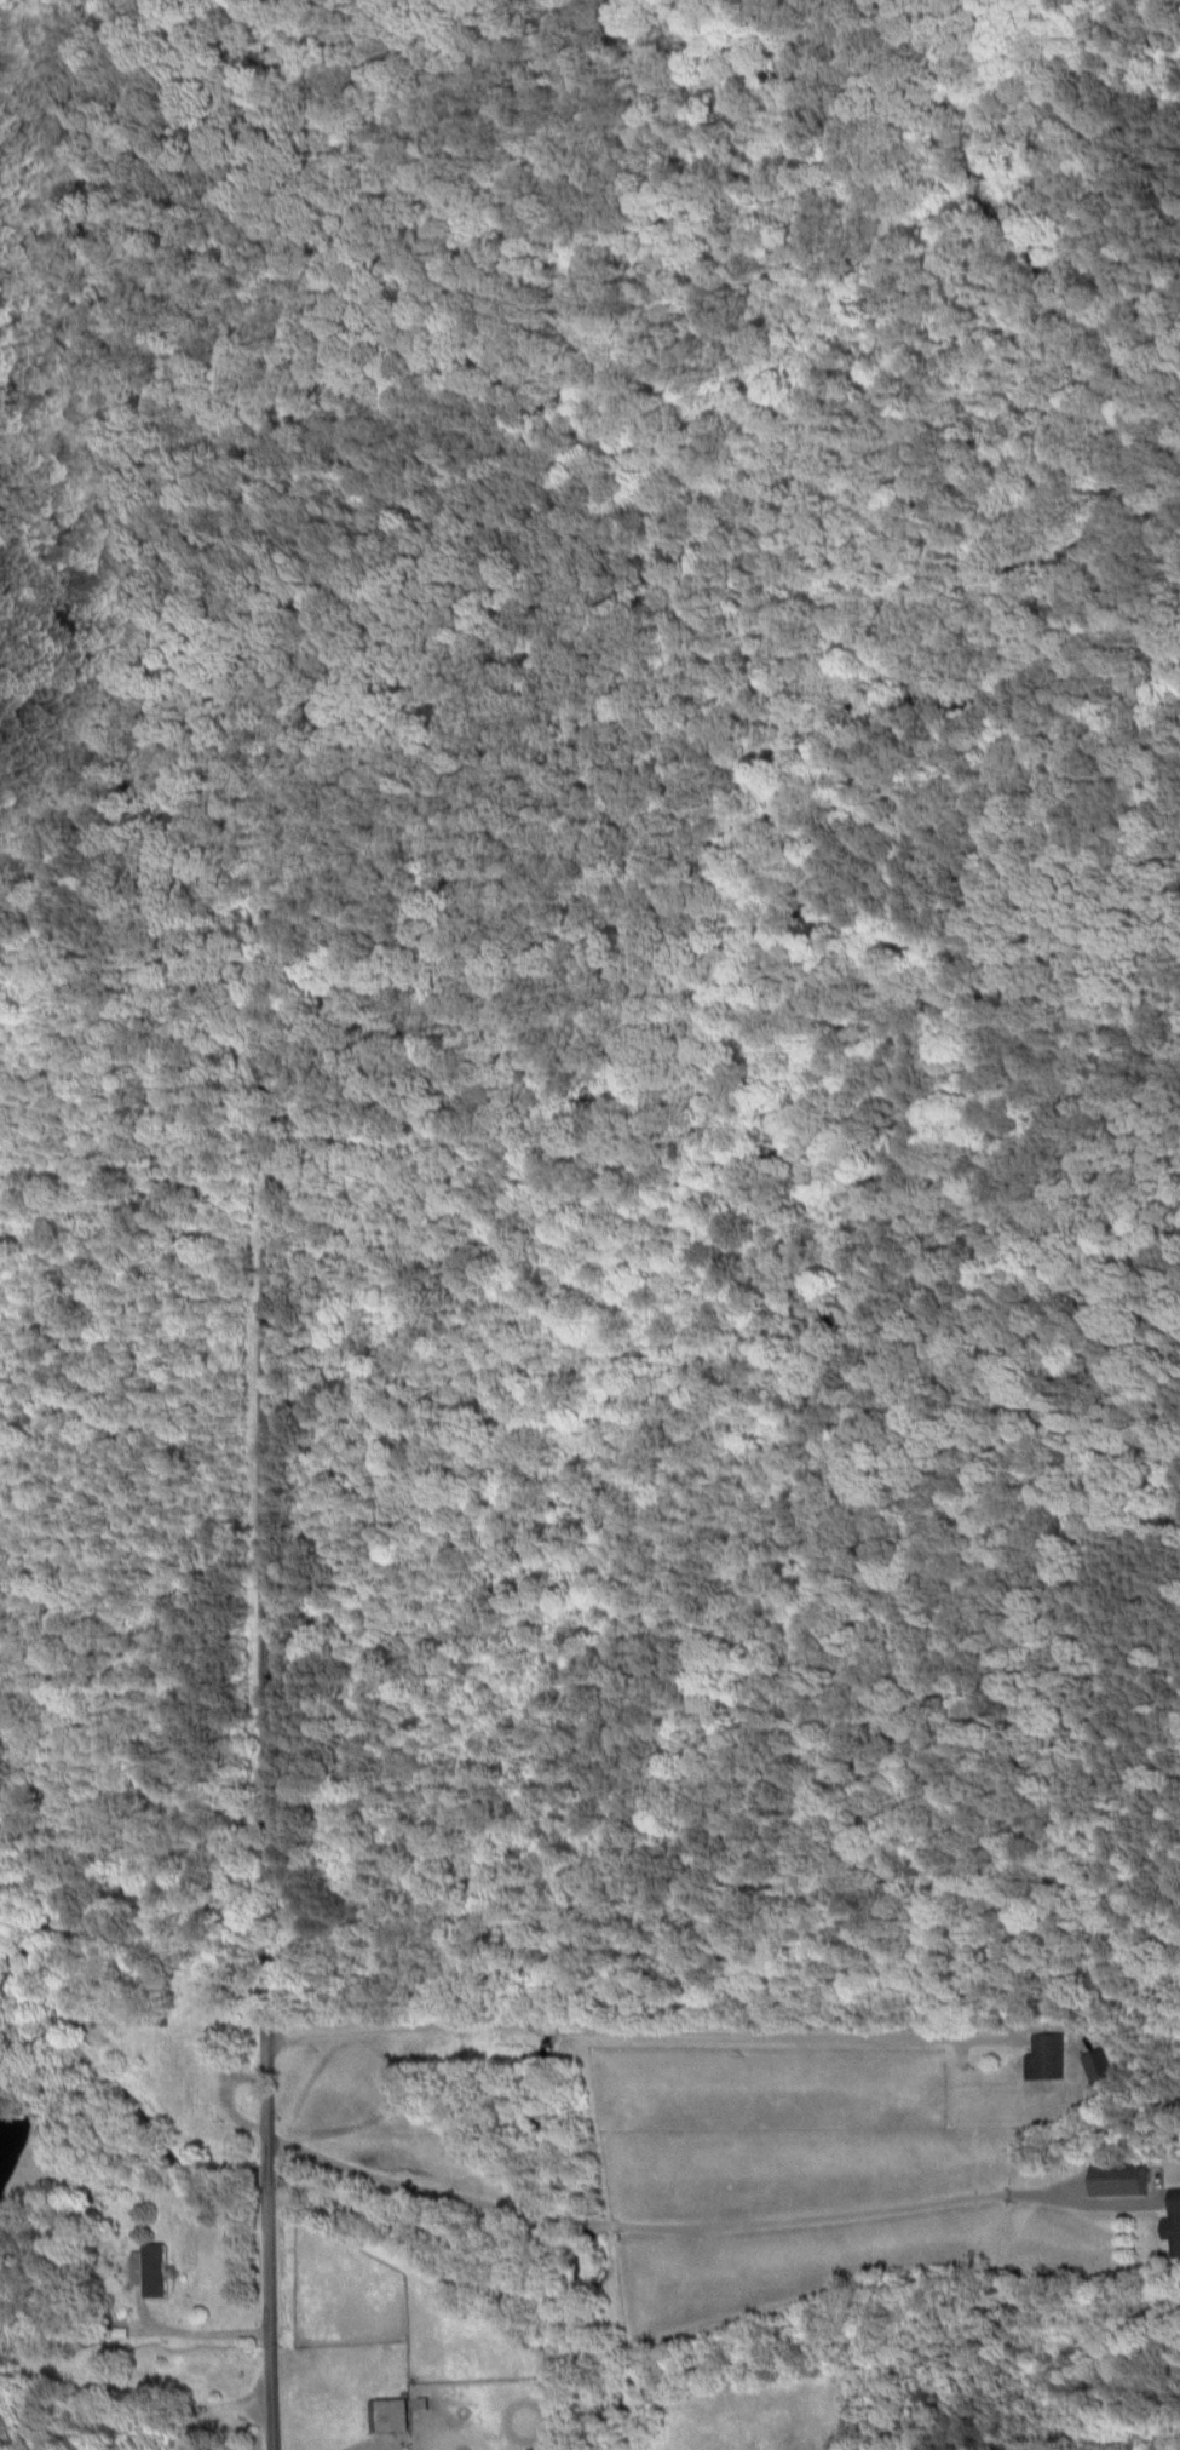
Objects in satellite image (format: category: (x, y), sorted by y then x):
road: (271, 1438)
road: (647, 2027)
building: (1046, 2056)
building: (1100, 2062)
road: (379, 2112)
building: (1122, 2179)
building: (155, 2270)
building: (392, 2415)

